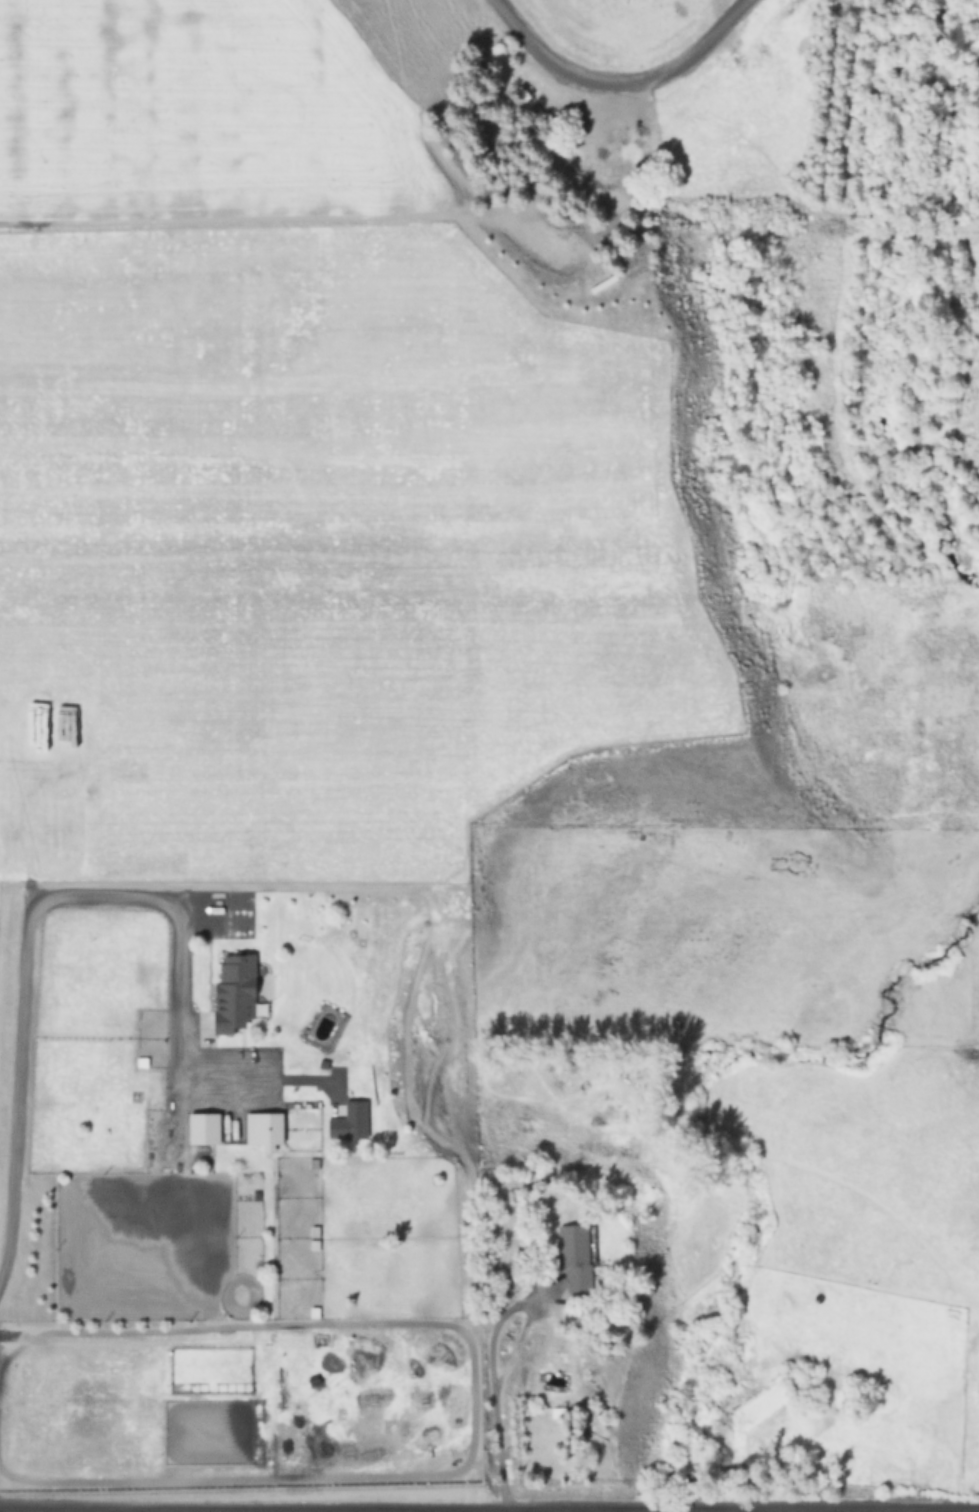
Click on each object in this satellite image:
building: (236, 992)
building: (564, 1068)
building: (204, 1129)
building: (265, 1130)
building: (576, 1255)
building: (548, 1435)

